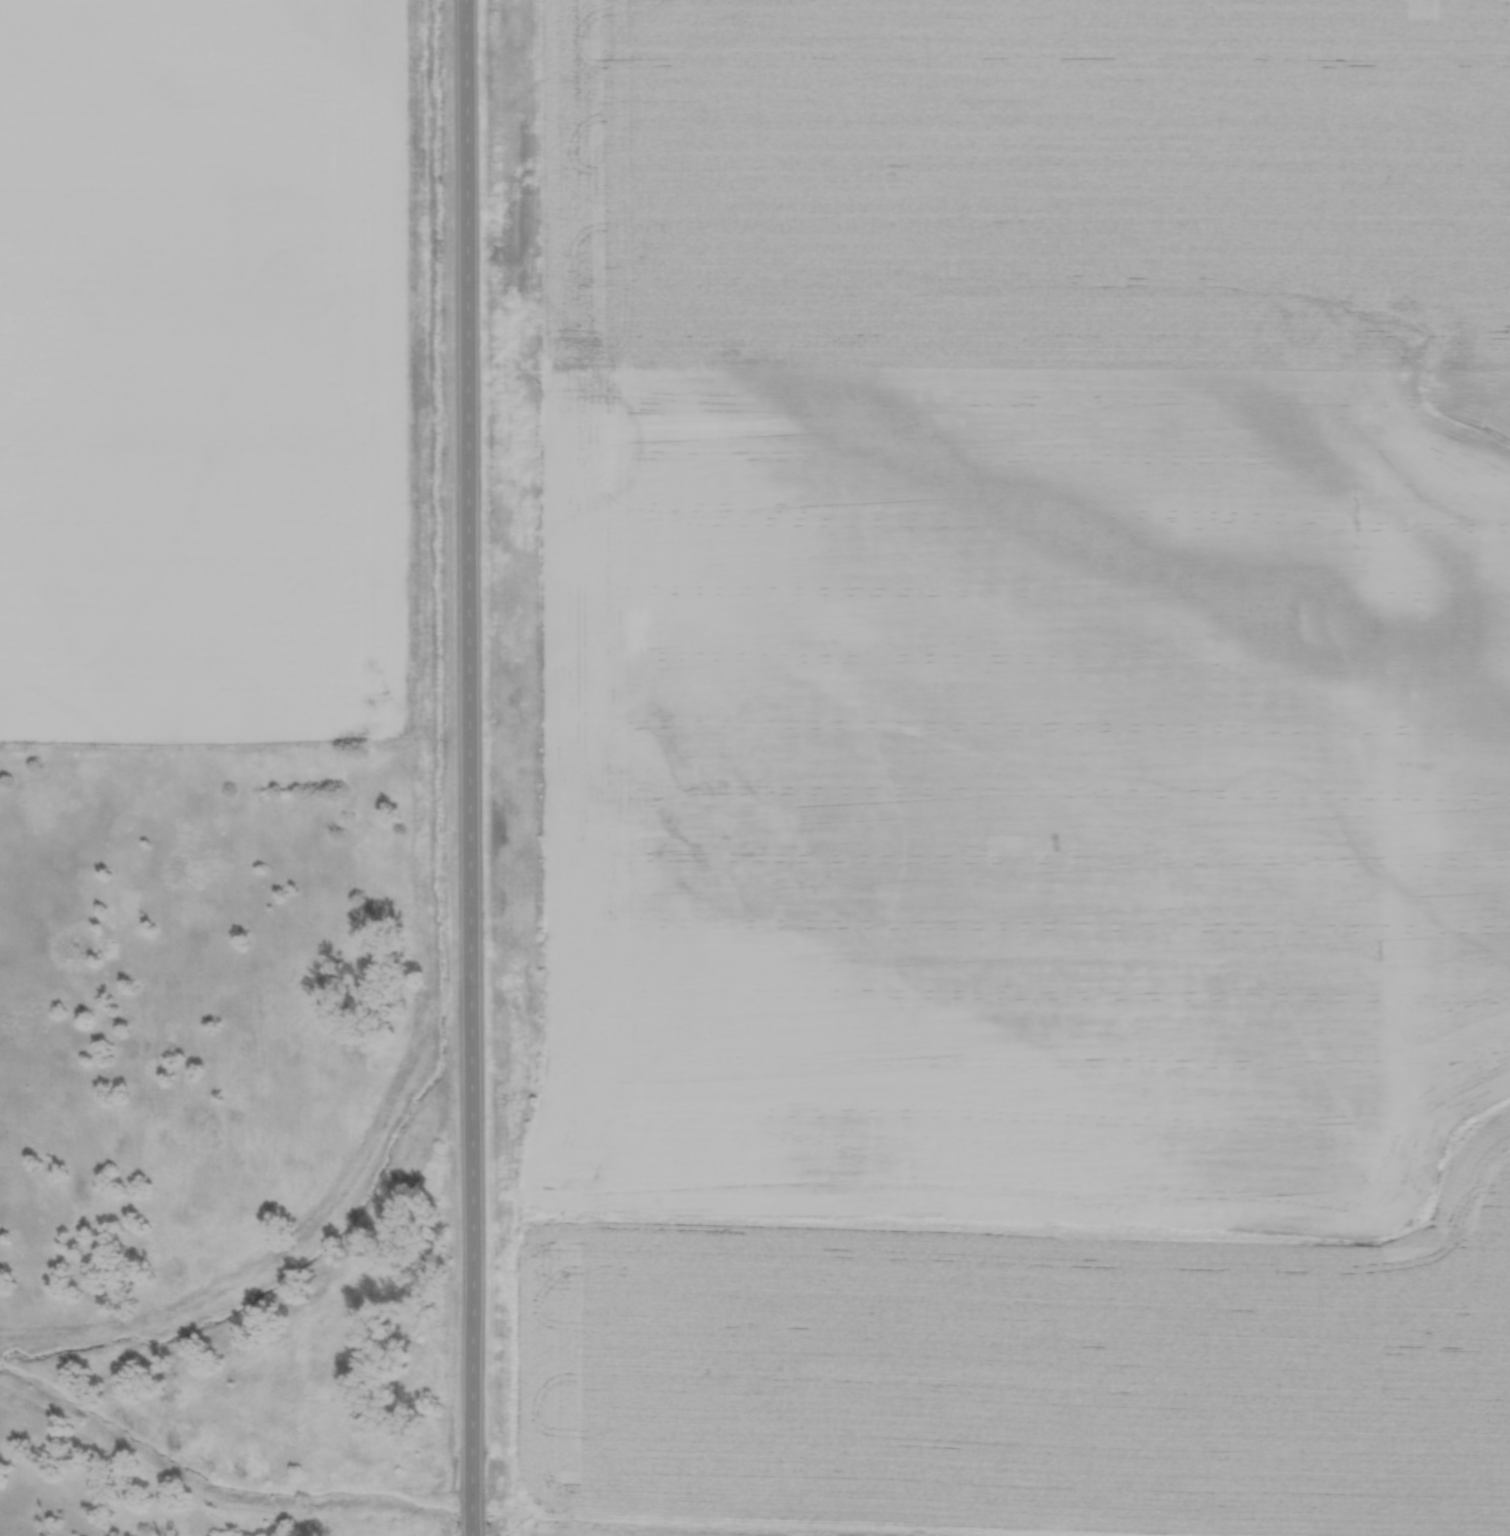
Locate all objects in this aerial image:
road: (474, 768)

